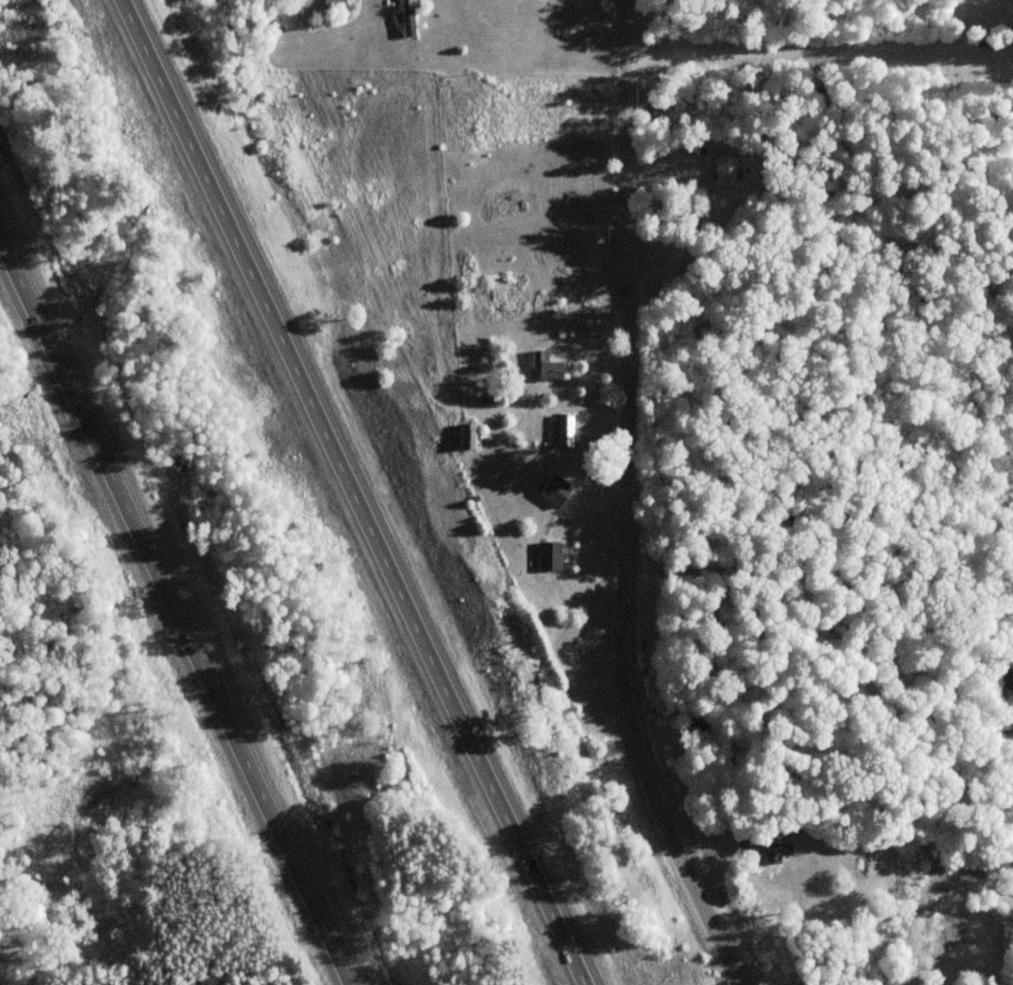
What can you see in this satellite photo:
building: (333, 6)
building: (405, 19)
building: (722, 173)
building: (506, 300)
building: (545, 368)
building: (563, 431)
building: (464, 437)
building: (553, 491)
road: (363, 492)
road: (612, 505)
building: (552, 550)
road: (180, 603)
building: (763, 850)

